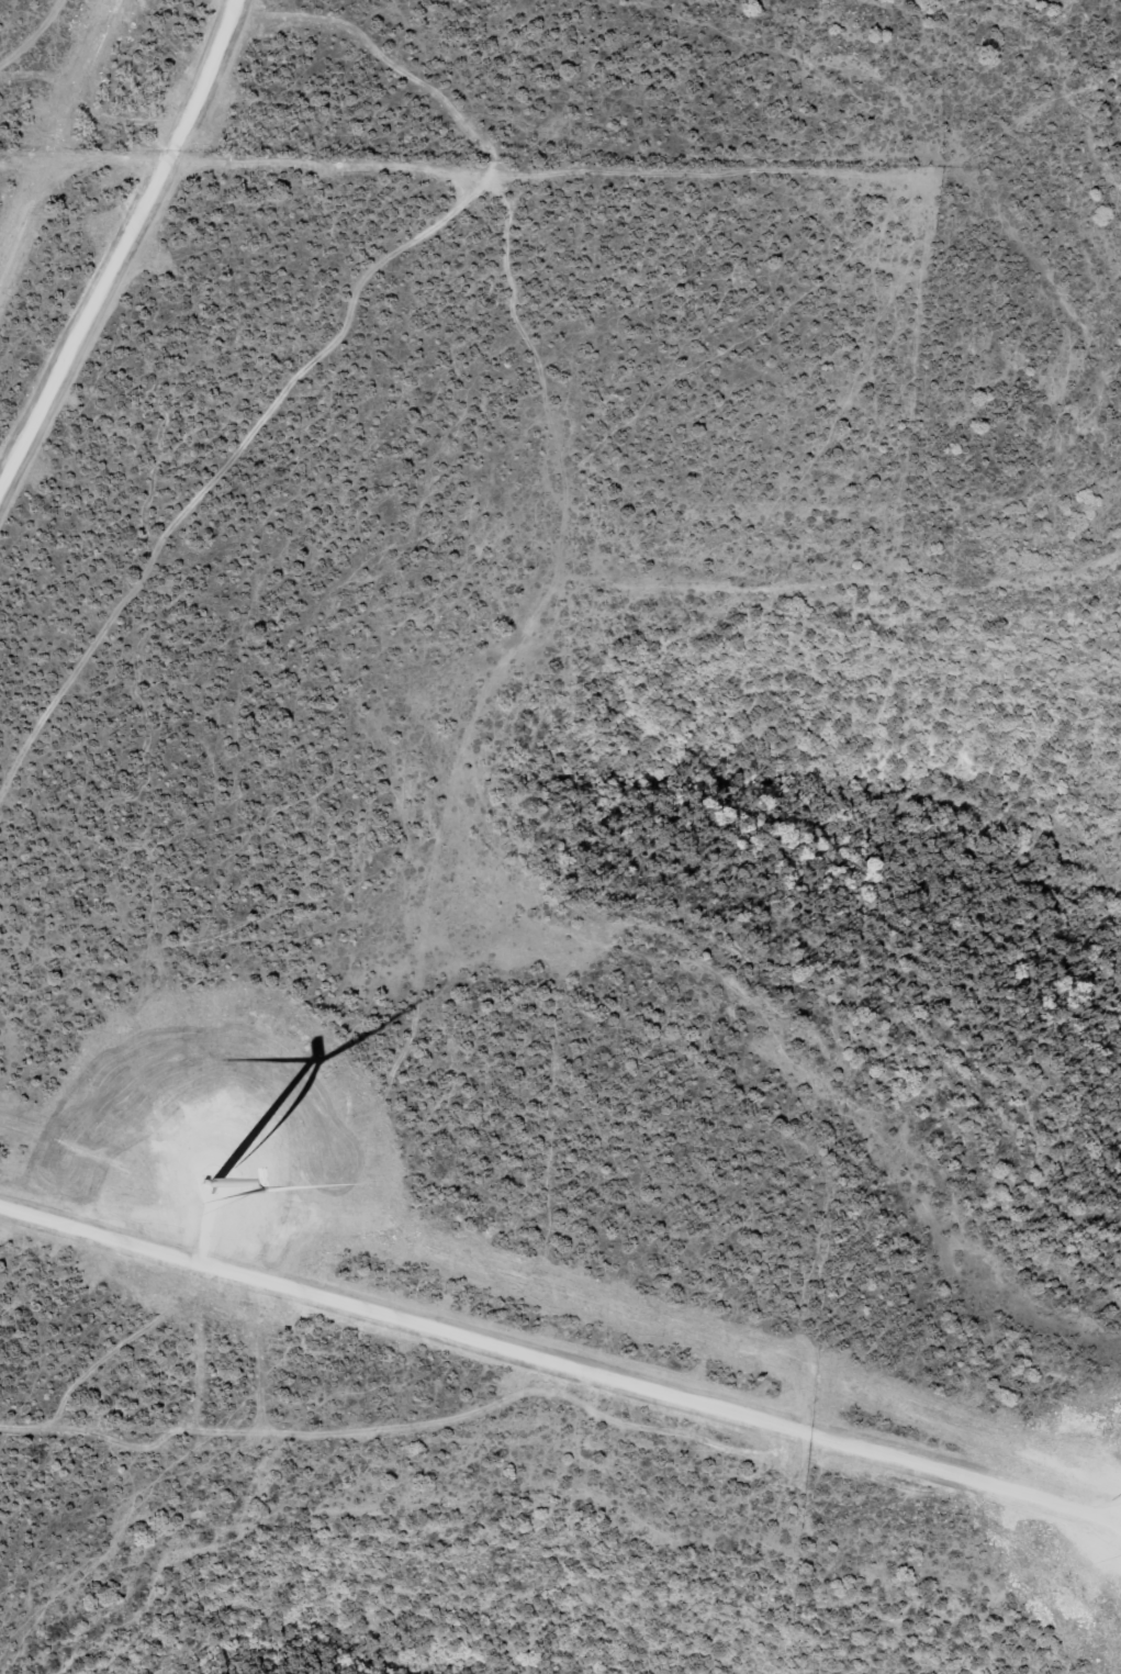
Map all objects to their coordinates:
wind turbine: (232, 1180)

